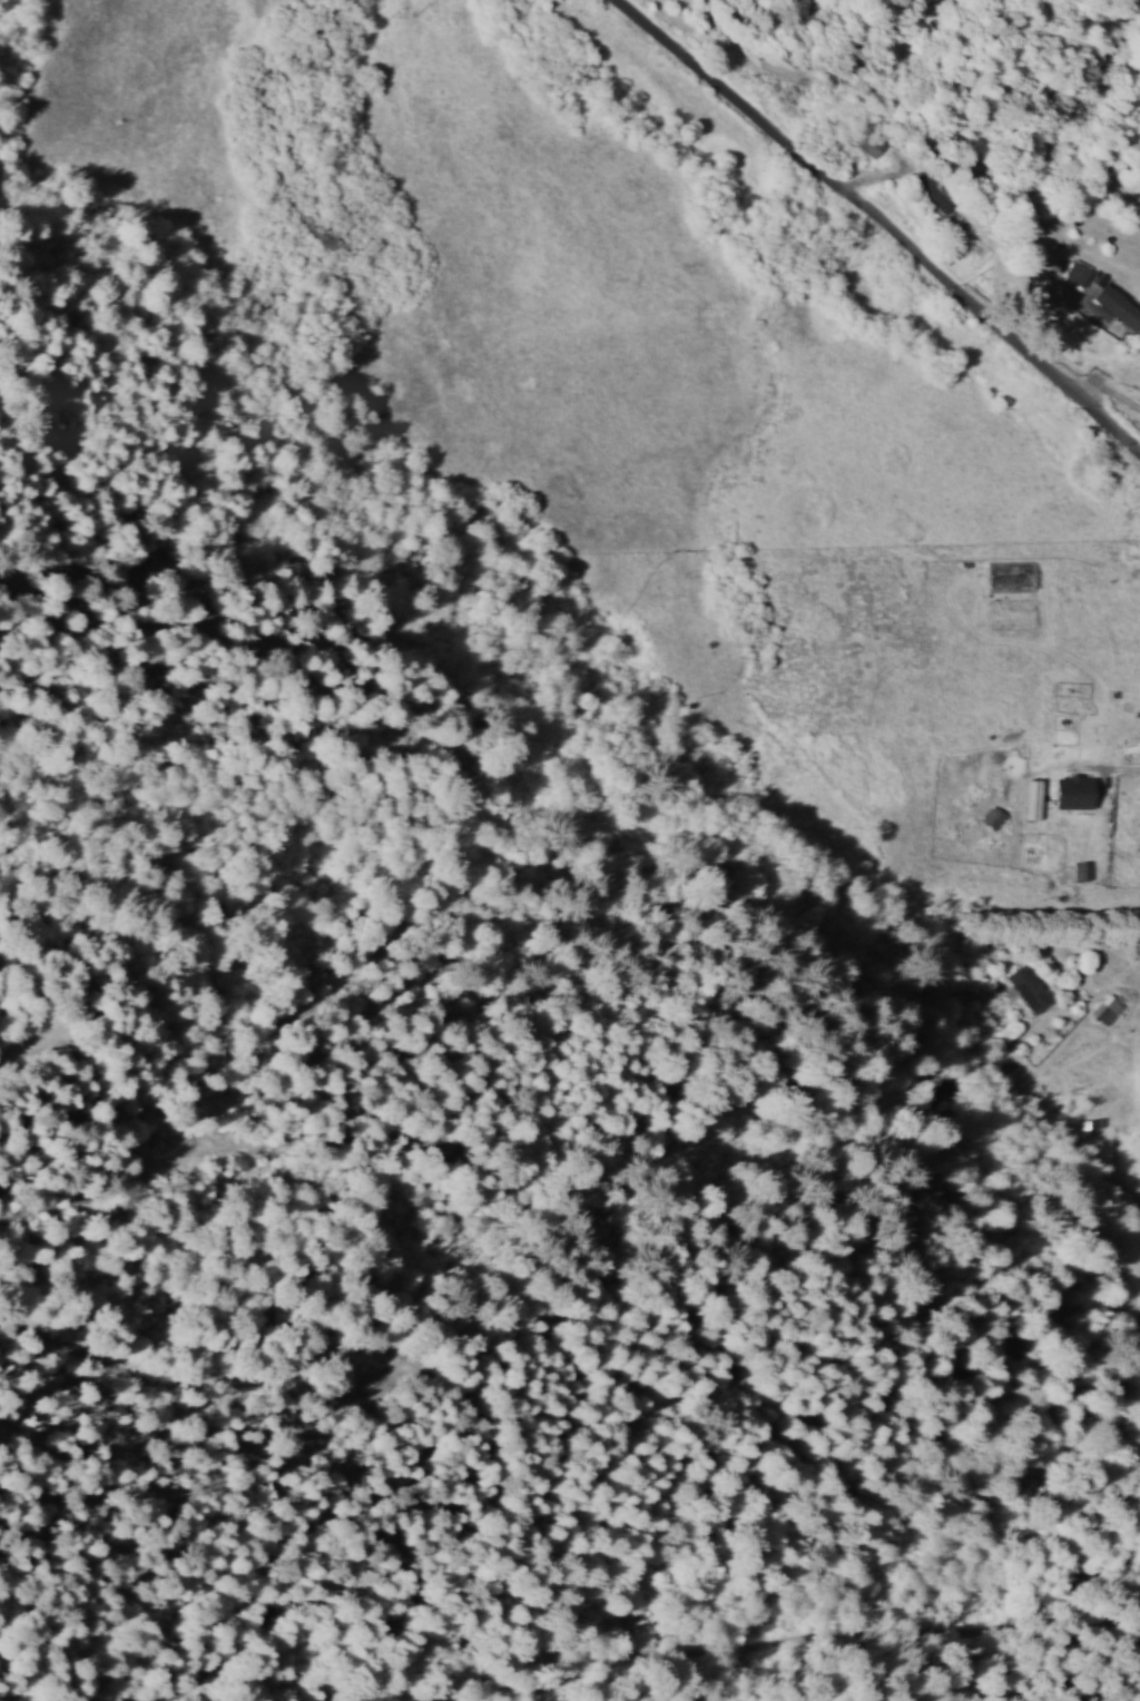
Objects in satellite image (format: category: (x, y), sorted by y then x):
building: (937, 189)
road: (879, 224)
building: (1079, 272)
building: (1110, 305)
building: (1078, 791)
building: (1031, 986)
building: (1109, 1007)
road: (1062, 1142)

